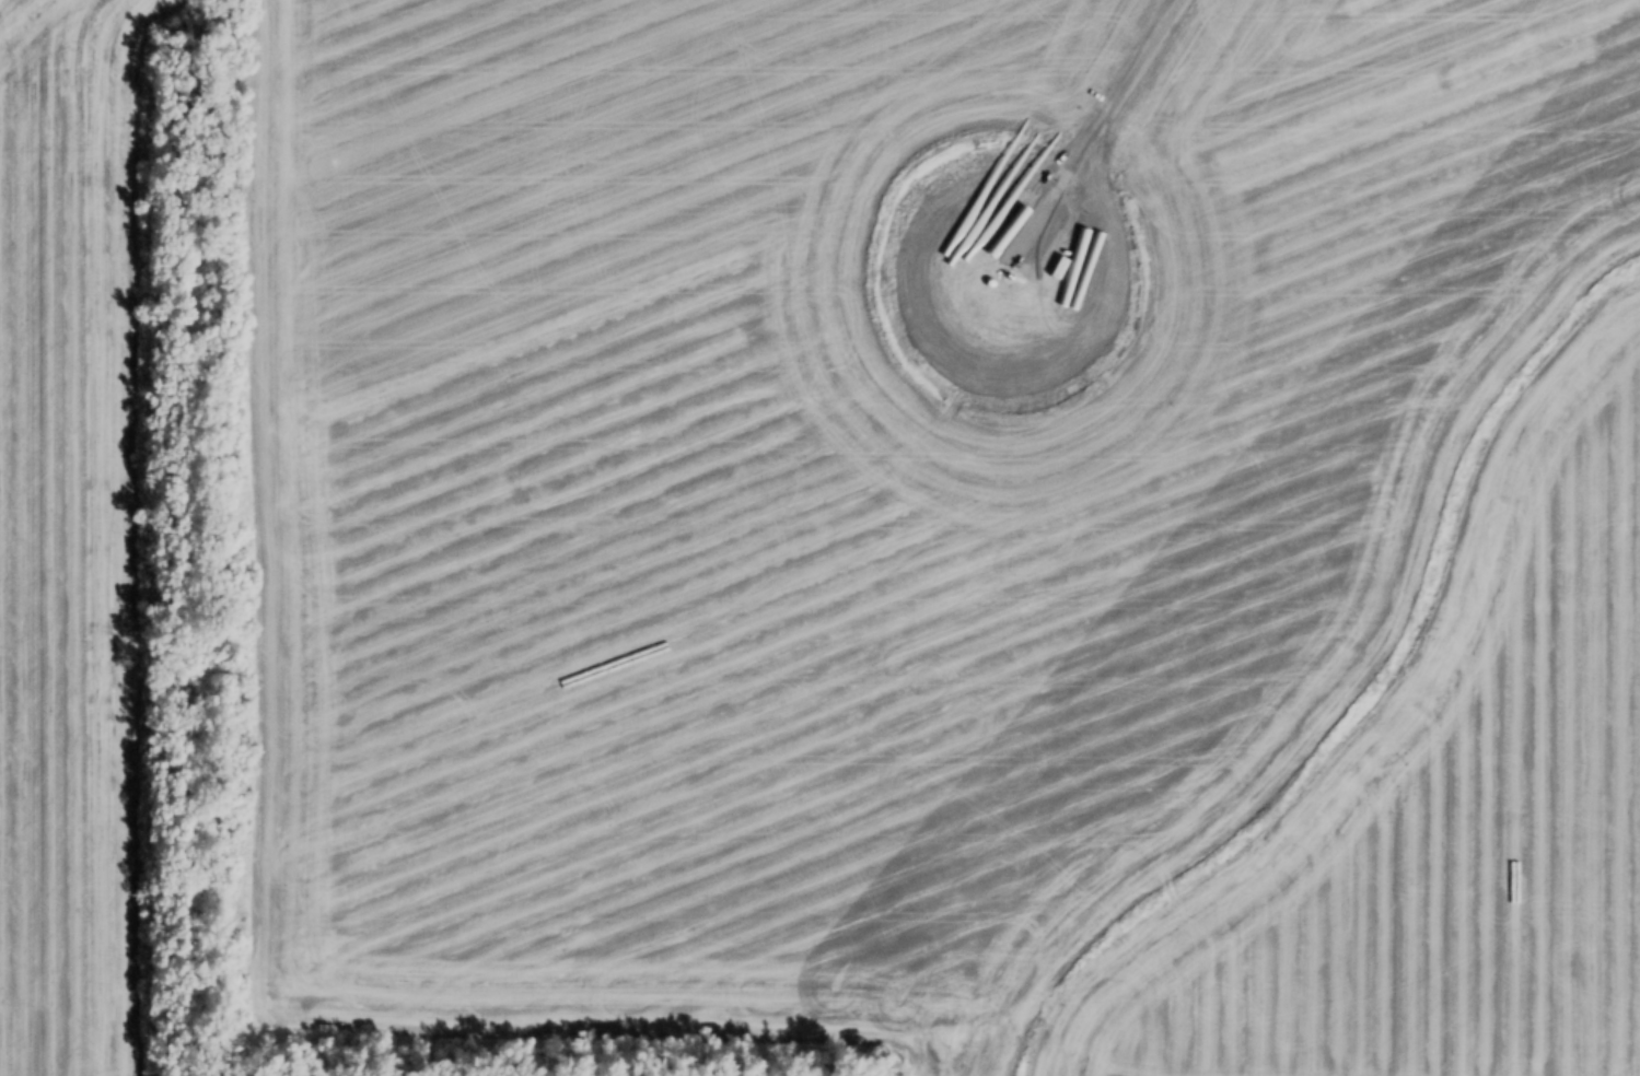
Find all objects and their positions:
wind turbine: (1002, 280)

